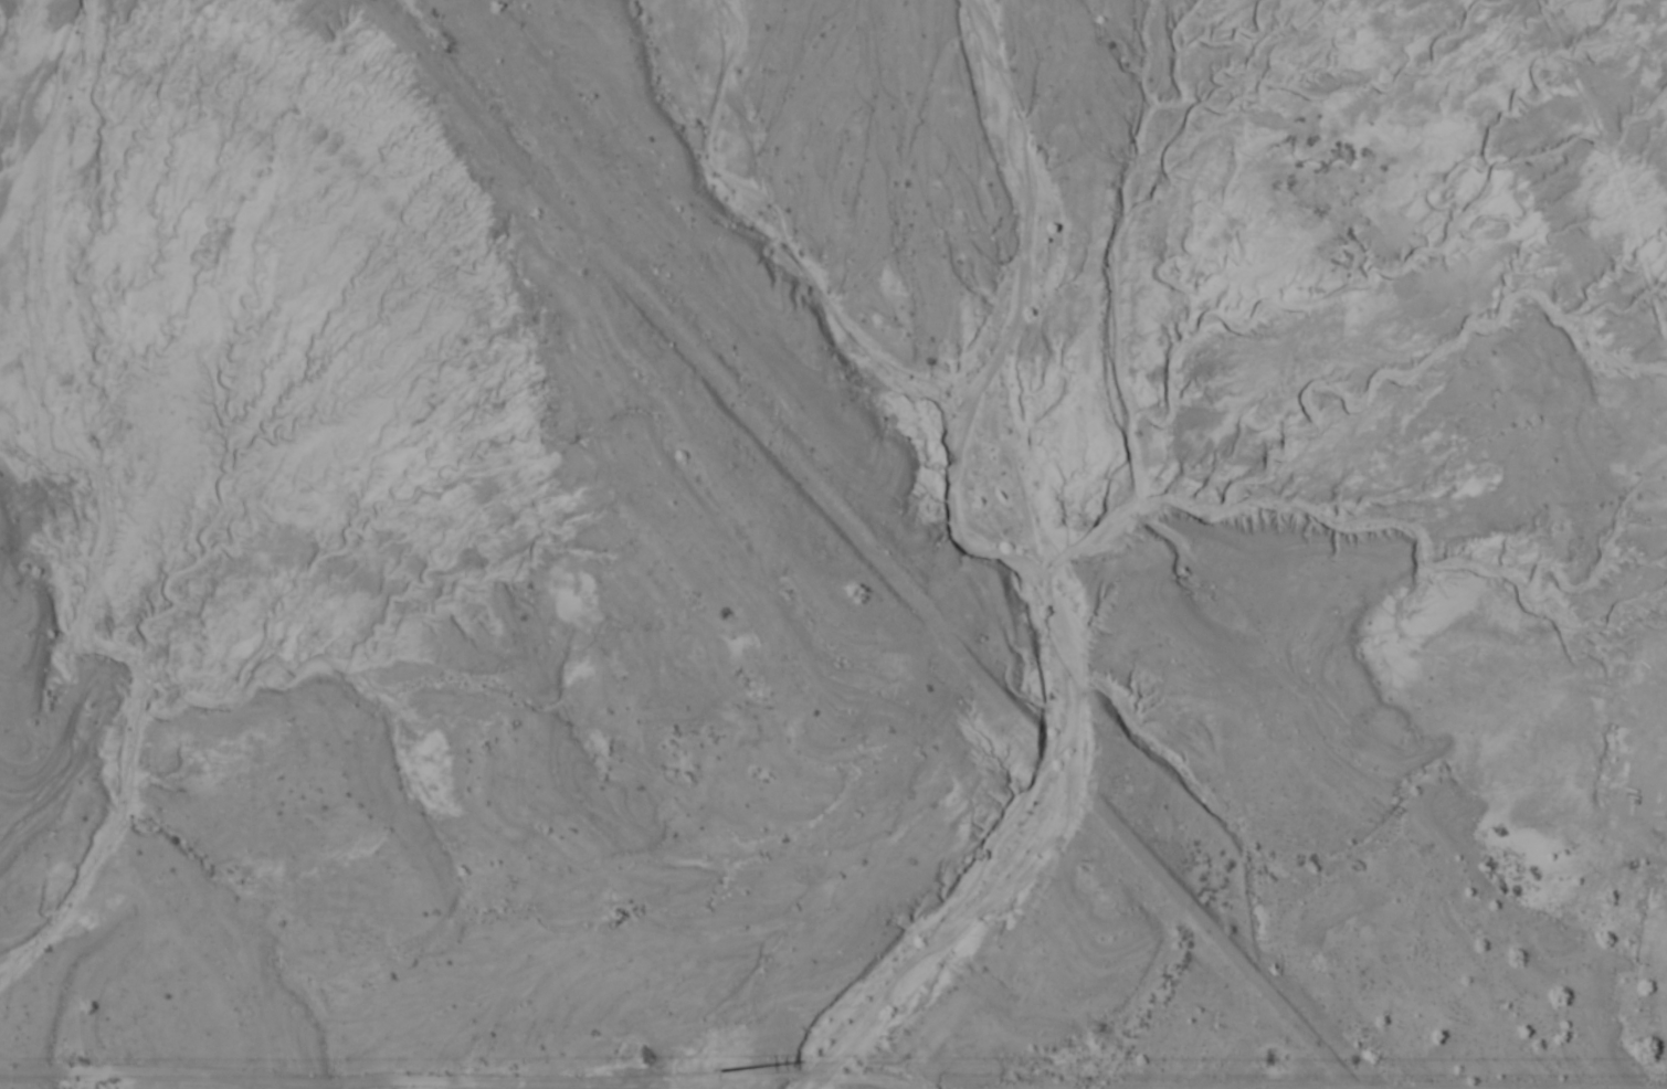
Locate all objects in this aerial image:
road: (1433, 1048)
power tower: (740, 1088)

